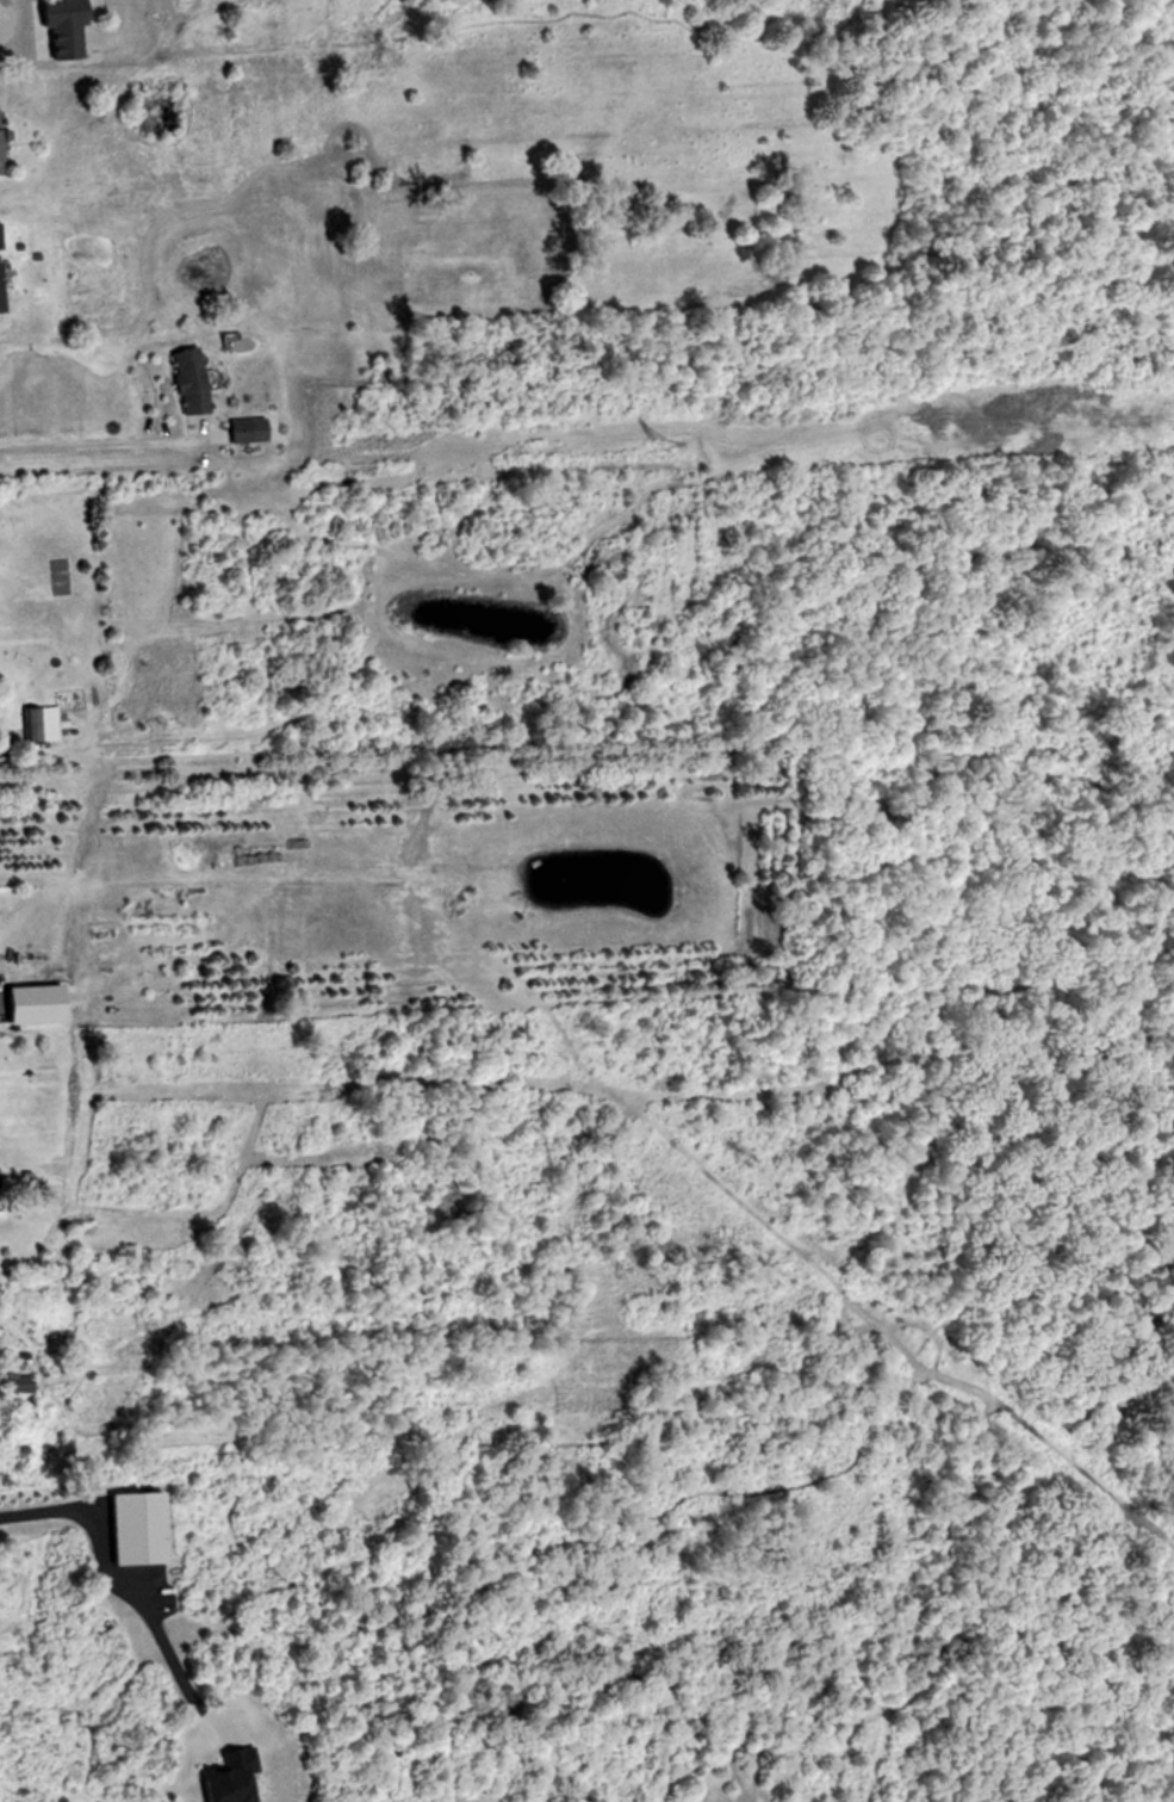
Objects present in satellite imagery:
building: (185, 380)
power tower: (657, 442)
road: (100, 447)
building: (37, 724)
building: (29, 1004)
building: (13, 1381)
road: (114, 1573)

